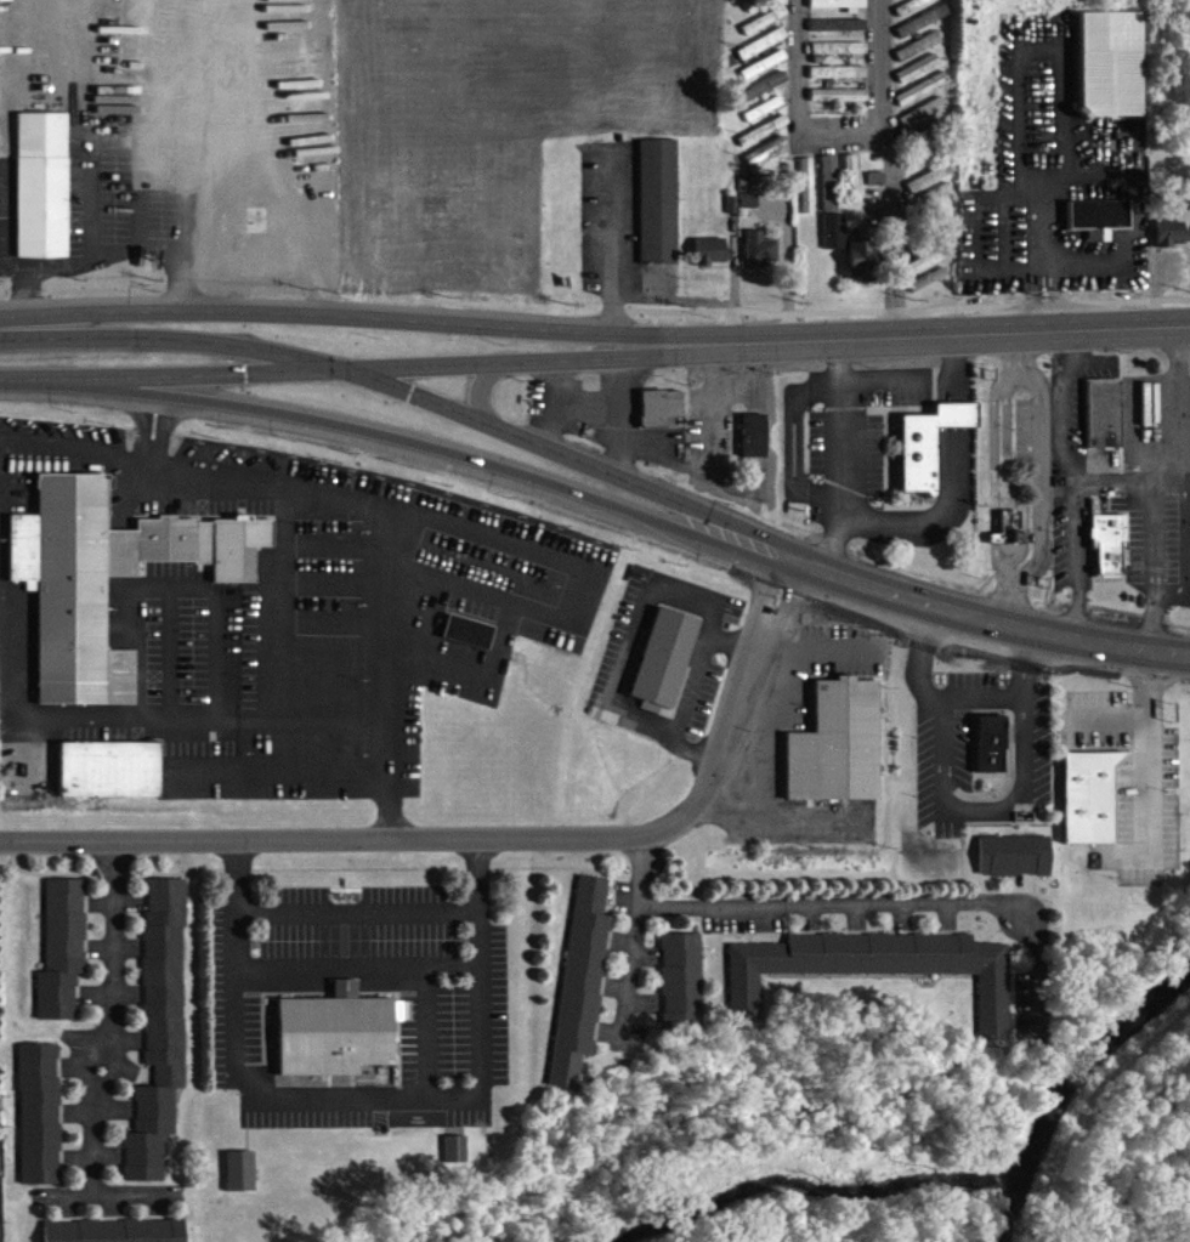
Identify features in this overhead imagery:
building: (835, 0)
building: (838, 12)
building: (919, 12)
building: (766, 30)
building: (839, 35)
road: (1065, 50)
building: (764, 53)
building: (919, 56)
building: (840, 58)
road: (882, 68)
building: (765, 74)
building: (1112, 74)
building: (919, 78)
building: (839, 83)
building: (764, 97)
building: (923, 98)
road: (798, 104)
building: (840, 104)
building: (765, 119)
building: (924, 121)
building: (765, 141)
building: (920, 143)
building: (767, 160)
building: (929, 163)
road: (1039, 177)
building: (852, 185)
building: (931, 187)
building: (878, 188)
building: (831, 193)
building: (44, 195)
building: (807, 195)
road: (91, 204)
building: (749, 210)
building: (659, 211)
building: (1183, 212)
road: (1042, 221)
building: (1099, 227)
road: (1002, 232)
road: (892, 236)
road: (610, 239)
building: (835, 240)
building: (1173, 243)
building: (262, 250)
road: (106, 257)
building: (761, 260)
building: (714, 261)
building: (930, 270)
building: (862, 272)
road: (1033, 297)
road: (1050, 297)
road: (399, 321)
road: (994, 334)
road: (1090, 363)
road: (429, 367)
traffic signals: (344, 369)
road: (885, 379)
road: (29, 387)
road: (478, 387)
road: (407, 395)
road: (1179, 404)
road: (1064, 409)
building: (661, 418)
building: (1105, 424)
road: (142, 427)
road: (160, 431)
road: (794, 443)
building: (755, 446)
building: (929, 454)
road: (426, 458)
road: (841, 458)
road: (1169, 480)
road: (953, 482)
road: (1154, 528)
building: (1013, 539)
road: (517, 546)
building: (1111, 552)
road: (1185, 552)
road: (1078, 561)
building: (107, 588)
road: (985, 622)
road: (634, 633)
building: (469, 642)
building: (665, 668)
road: (690, 688)
road: (981, 701)
road: (129, 720)
road: (1101, 720)
building: (831, 741)
building: (991, 754)
building: (109, 779)
road: (1146, 781)
building: (1089, 807)
road: (958, 812)
road: (483, 840)
building: (1014, 866)
road: (886, 902)
road: (633, 938)
building: (63, 959)
road: (353, 959)
building: (875, 976)
building: (582, 991)
building: (681, 991)
road: (110, 1016)
building: (160, 1039)
building: (335, 1043)
building: (40, 1124)
building: (455, 1159)
building: (239, 1181)
building: (115, 1236)

